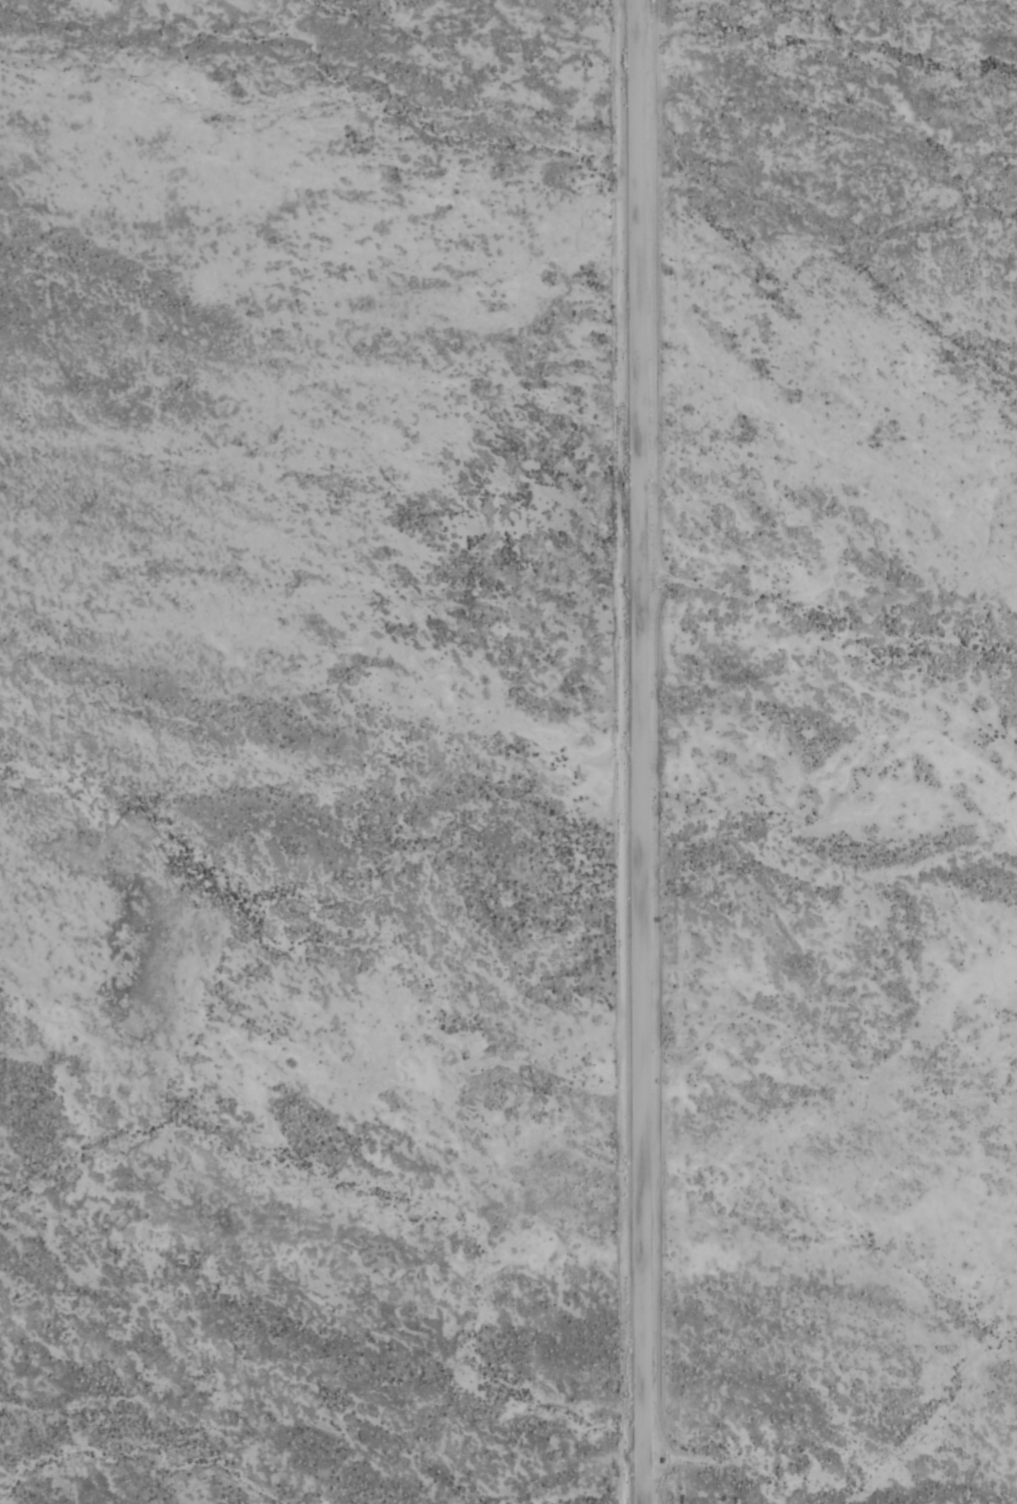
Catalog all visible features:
railway: (611, 317)
railway: (602, 320)
road: (639, 752)
railway: (907, 800)
railway: (903, 811)

